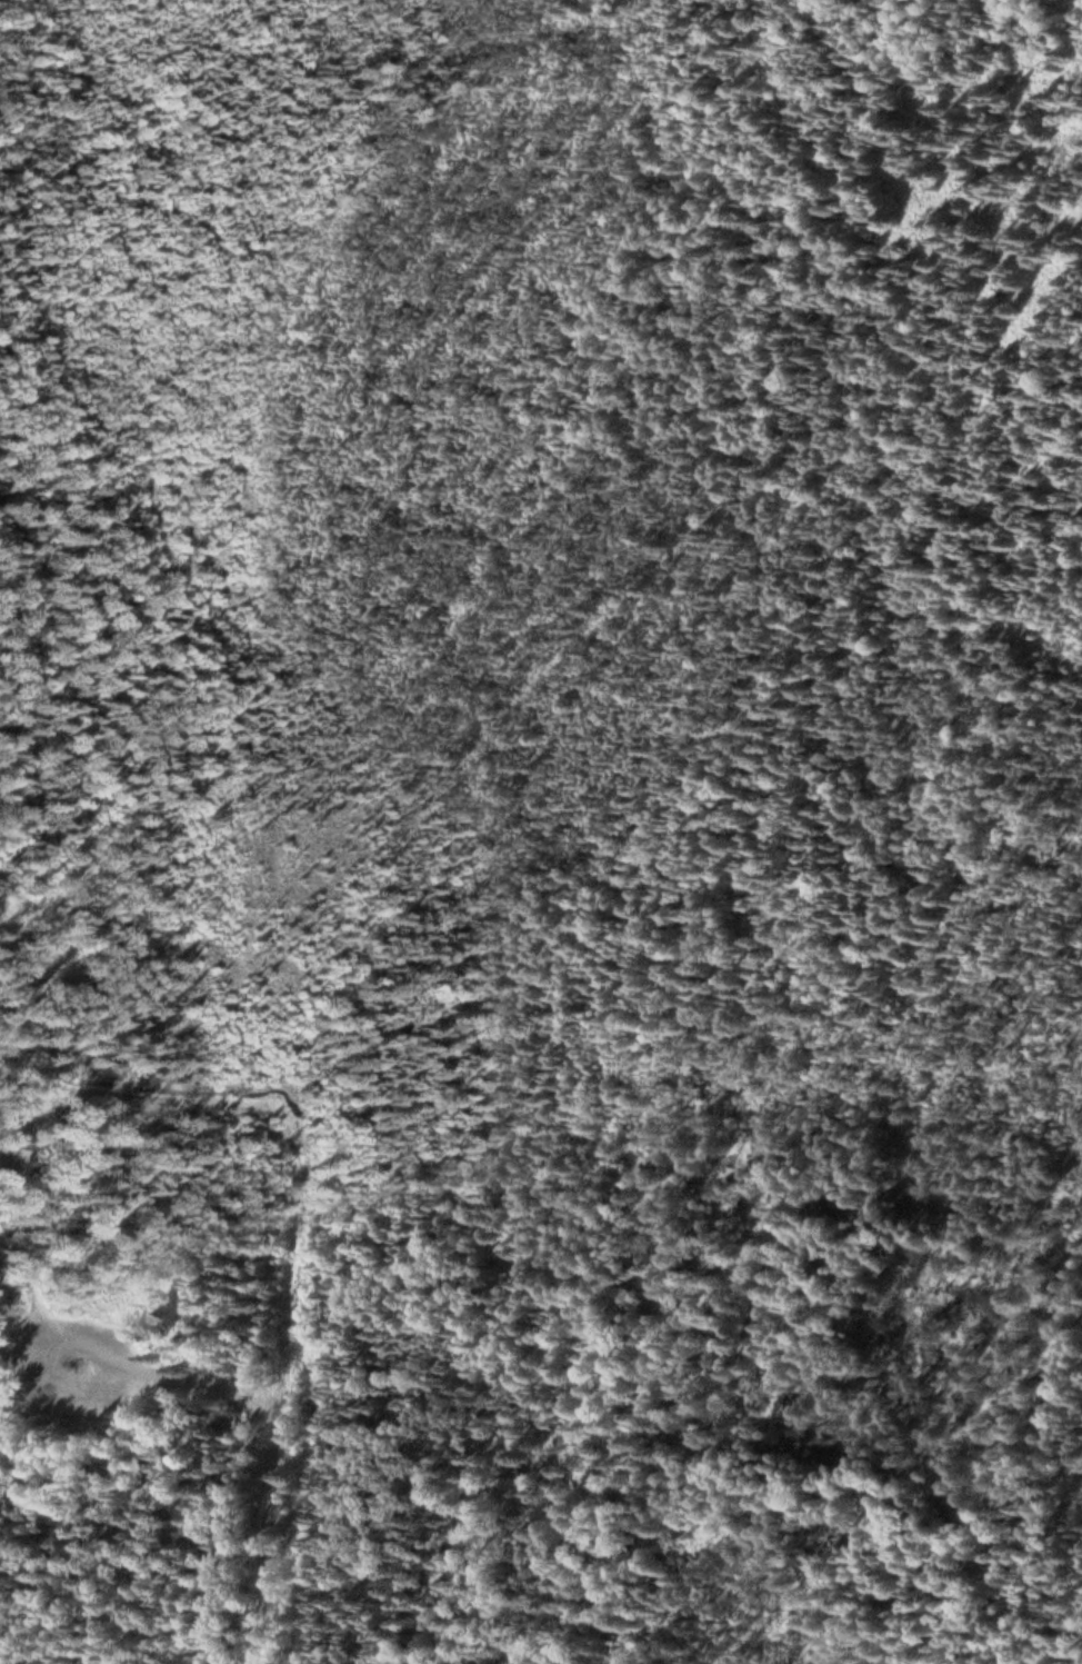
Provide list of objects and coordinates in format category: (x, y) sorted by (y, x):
petroleum well: (64, 1362)

